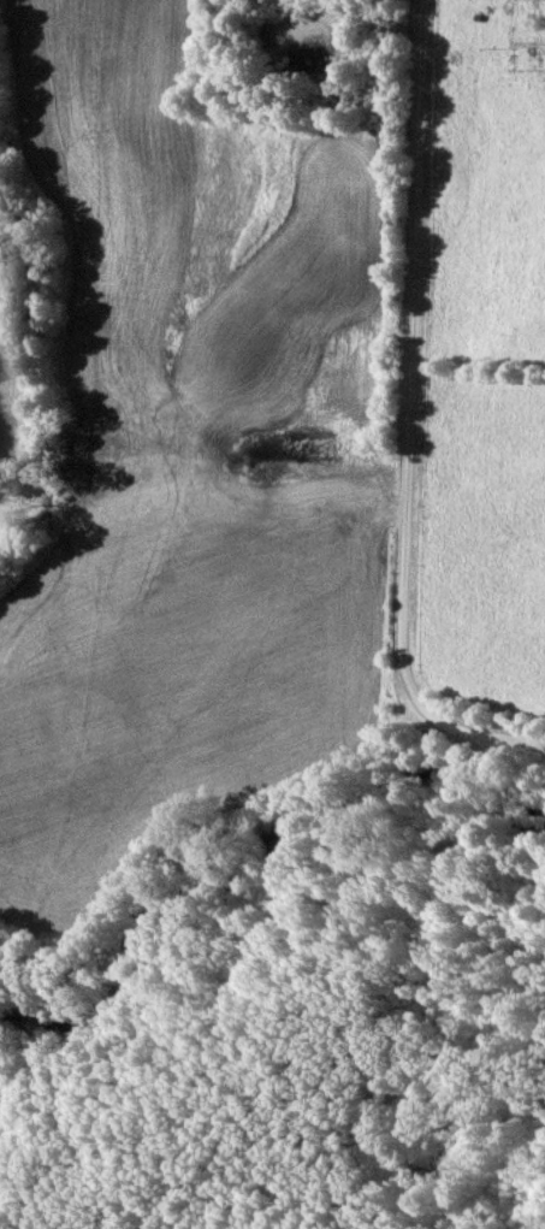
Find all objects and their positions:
road: (409, 395)
road: (516, 752)

